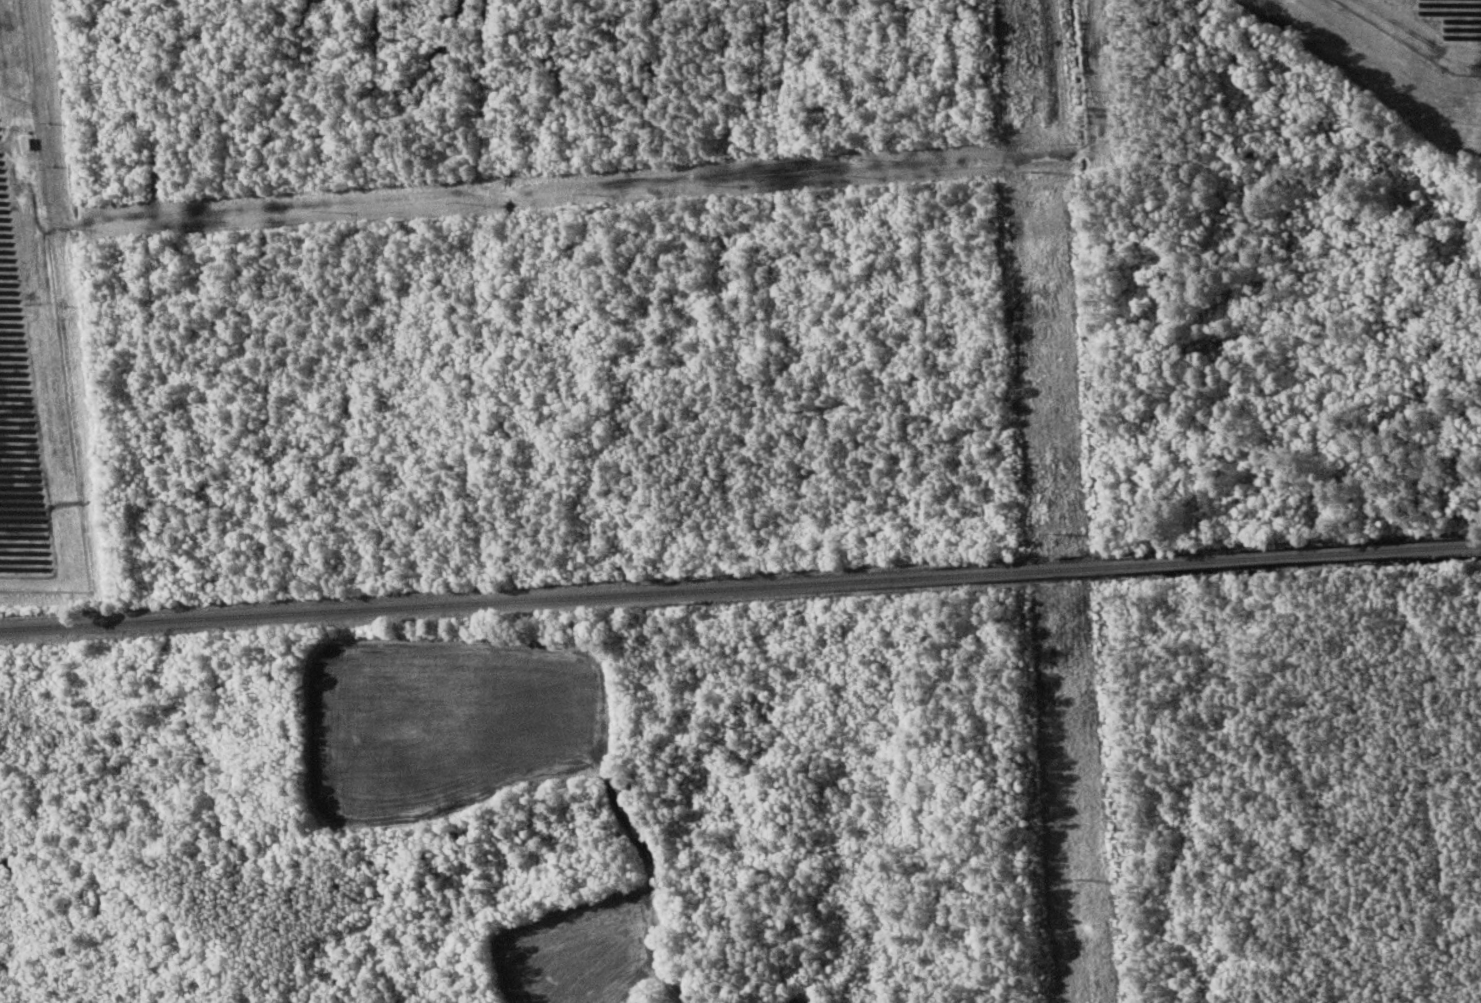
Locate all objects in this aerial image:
power tower: (1041, 170)
solar farm: (31, 356)
power tower: (1064, 534)
railway: (740, 587)
power tower: (1084, 878)

